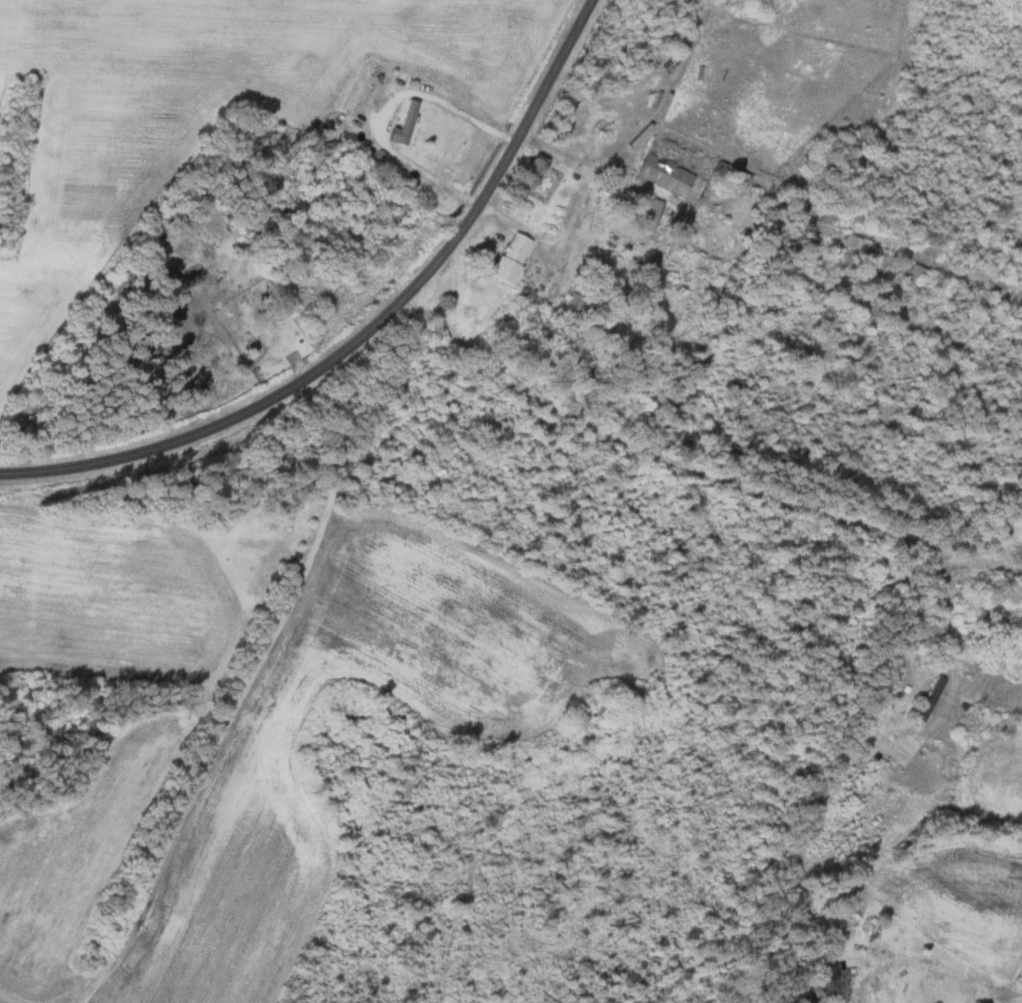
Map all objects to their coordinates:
building: (406, 123)
building: (663, 175)
building: (650, 214)
building: (860, 219)
building: (851, 240)
building: (928, 250)
building: (510, 257)
building: (917, 271)
building: (995, 282)
building: (985, 302)
building: (570, 303)
road: (430, 326)
road: (365, 330)
road: (730, 482)
building: (254, 544)
building: (991, 607)
road: (282, 686)
building: (928, 698)
road: (976, 896)
building: (827, 975)

